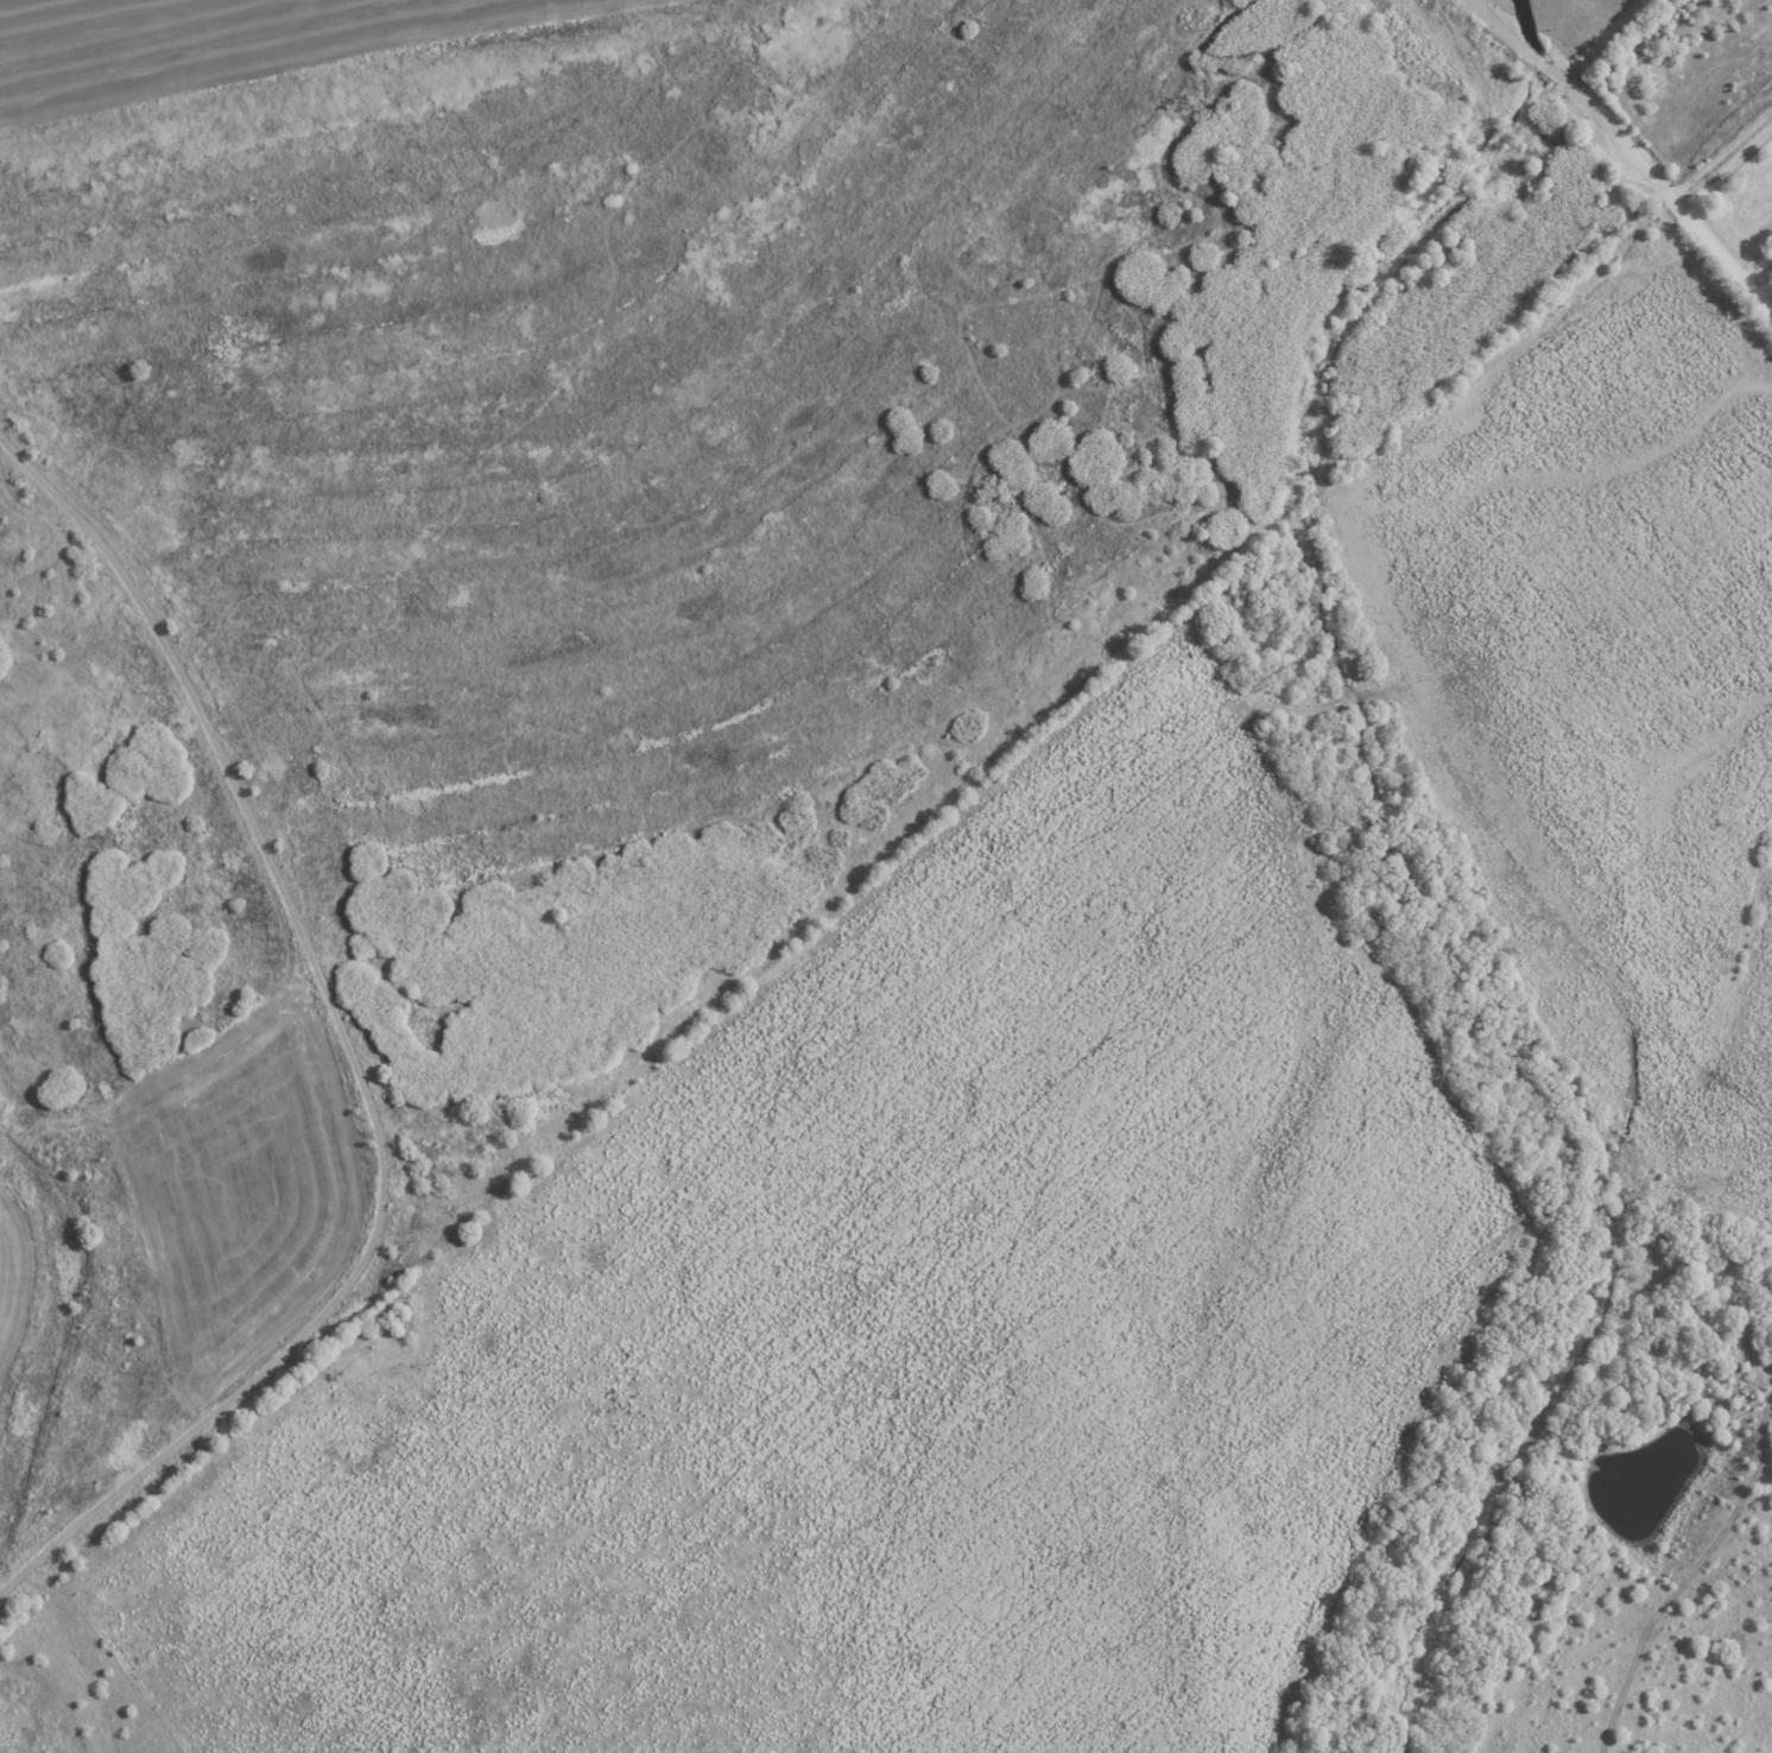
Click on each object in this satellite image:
road: (1605, 39)
road: (1628, 151)
road: (1727, 171)
road: (355, 1050)

